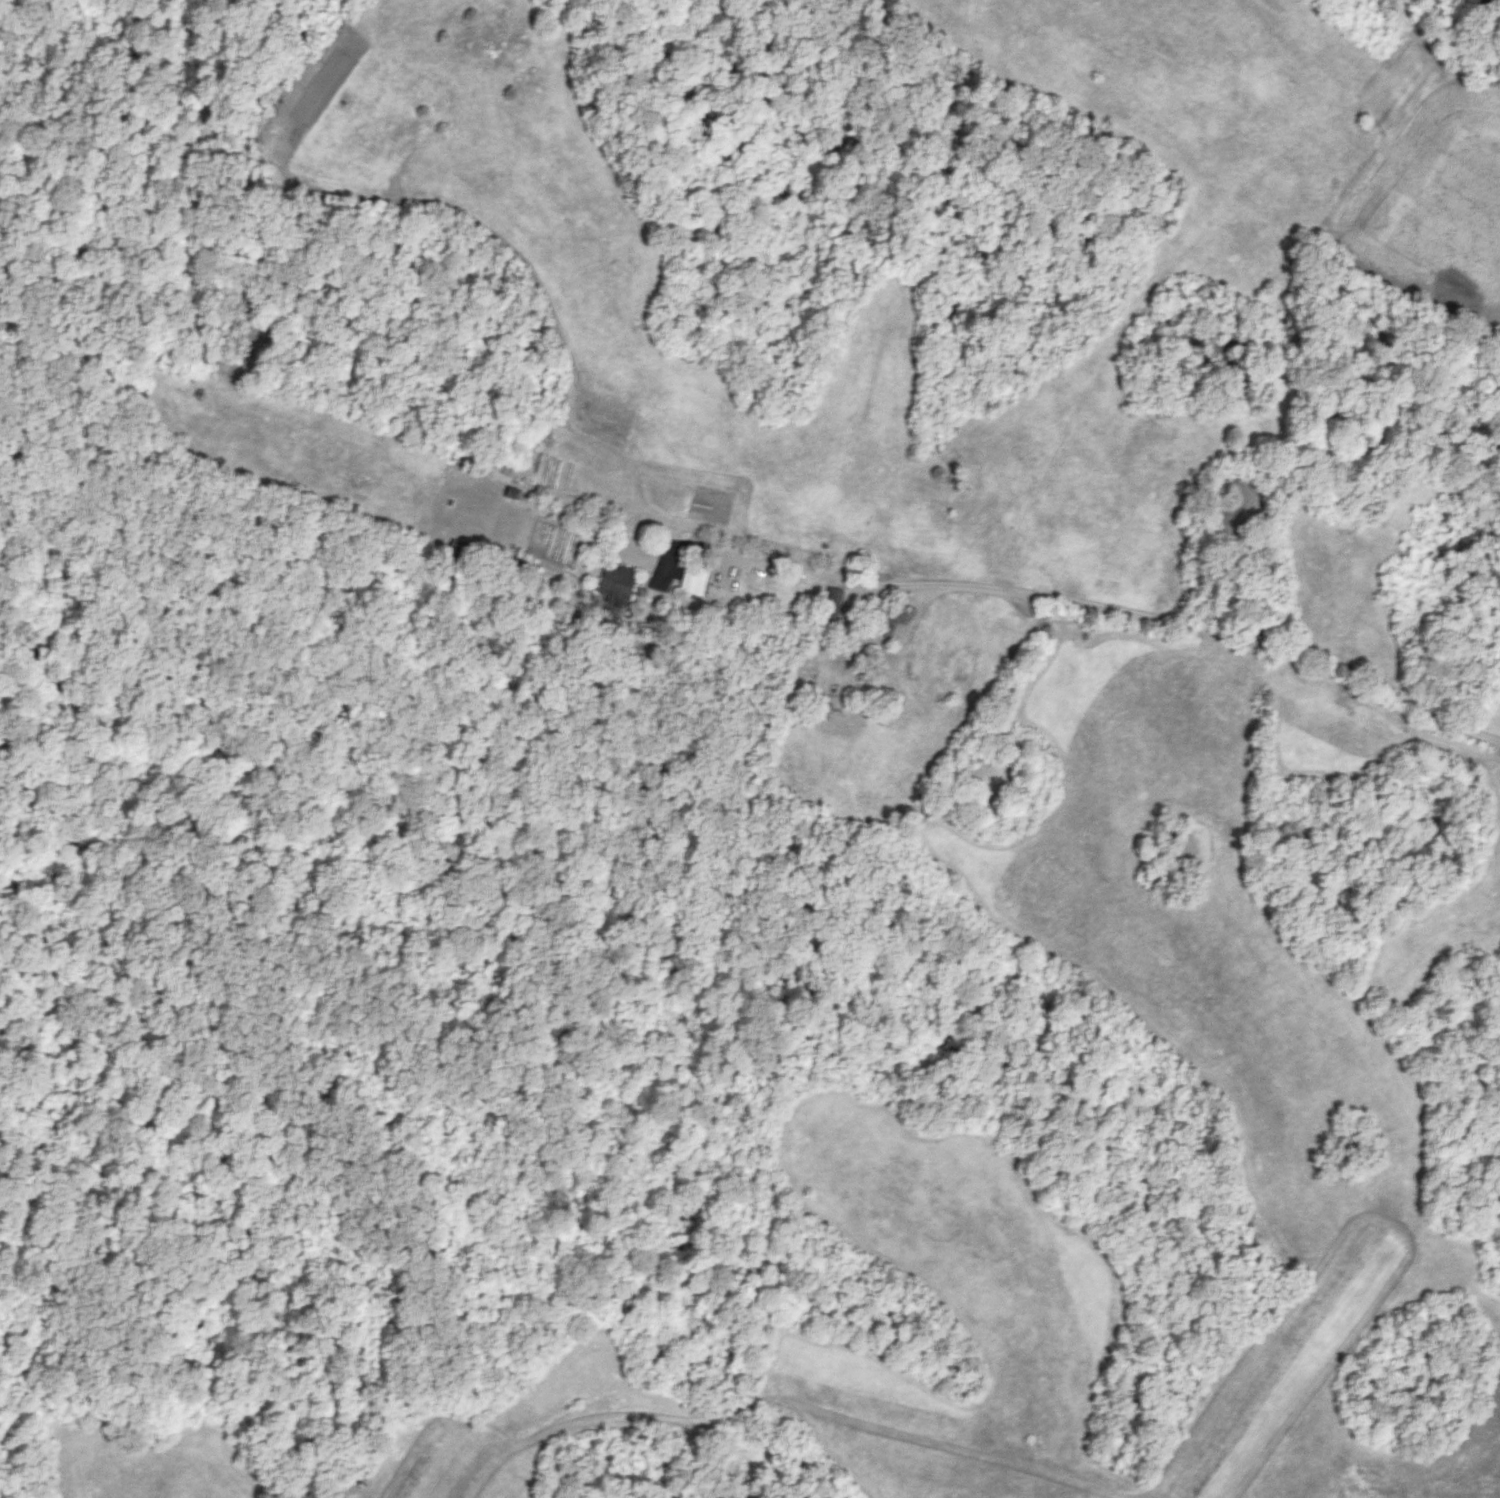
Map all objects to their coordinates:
building: (515, 493)
building: (695, 578)
building: (620, 582)
building: (831, 601)
road: (1076, 606)
building: (885, 627)
road: (120, 1314)
road: (514, 1383)
road: (1418, 1469)

